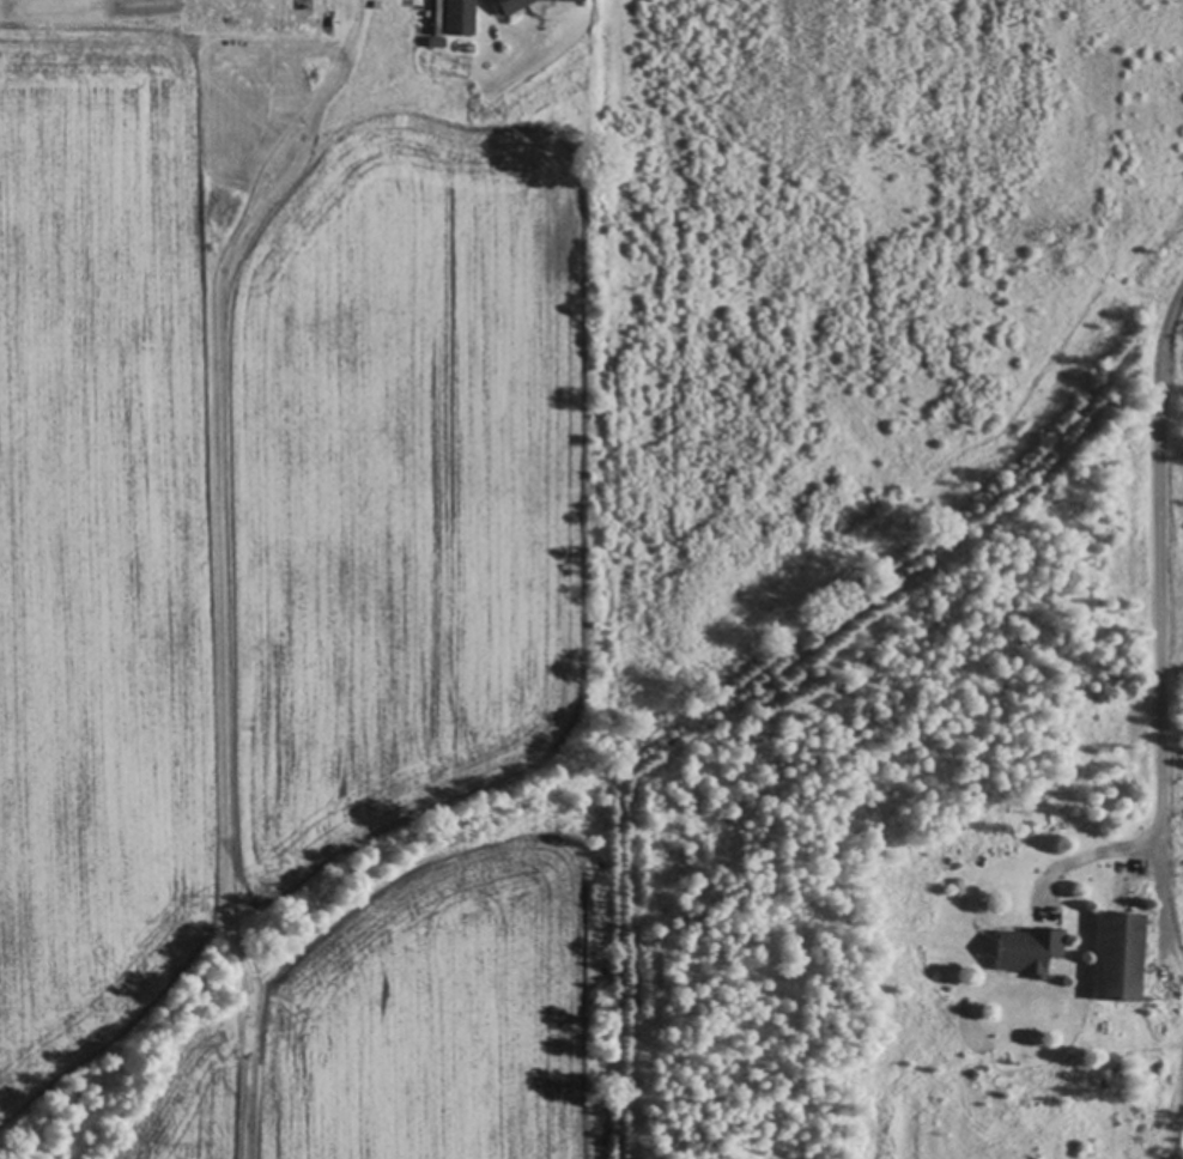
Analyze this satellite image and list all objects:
building: (565, 0)
building: (509, 6)
building: (436, 17)
building: (456, 17)
building: (435, 43)
road: (1159, 575)
building: (1026, 947)
building: (1117, 955)

